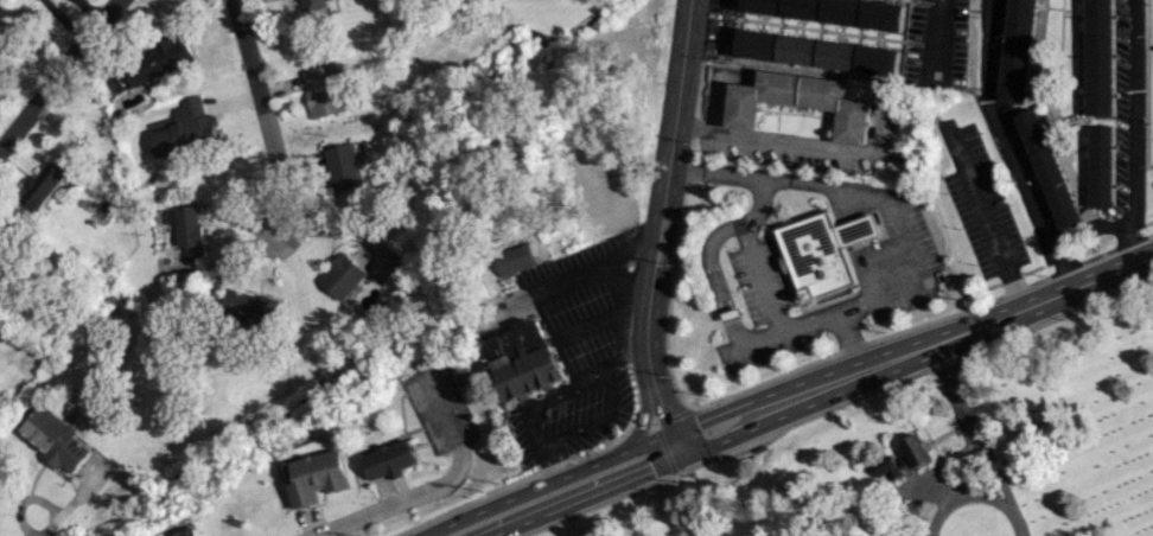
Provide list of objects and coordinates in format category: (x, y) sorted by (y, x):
building: (313, 2)
building: (833, 12)
road: (942, 39)
building: (1018, 51)
building: (816, 52)
building: (1098, 57)
building: (155, 62)
road: (57, 72)
building: (323, 91)
building: (798, 102)
road: (260, 110)
building: (184, 130)
road: (1133, 132)
road: (765, 143)
road: (1007, 148)
building: (1100, 166)
building: (343, 167)
building: (1047, 168)
building: (45, 181)
road: (854, 190)
road: (663, 192)
road: (987, 222)
building: (185, 224)
building: (823, 253)
building: (191, 254)
building: (520, 260)
road: (236, 262)
road: (598, 266)
building: (2, 268)
building: (343, 276)
road: (762, 280)
building: (250, 307)
road: (962, 332)
road: (847, 345)
building: (523, 360)
traffic signals: (662, 413)
road: (642, 417)
road: (664, 421)
traffic signals: (695, 422)
road: (975, 428)
building: (52, 439)
park: (943, 452)
building: (904, 458)
building: (389, 460)
road: (594, 464)
traffic signals: (650, 471)
road: (633, 477)
building: (318, 478)
road: (434, 490)
road: (974, 493)
road: (58, 515)
building: (191, 532)

